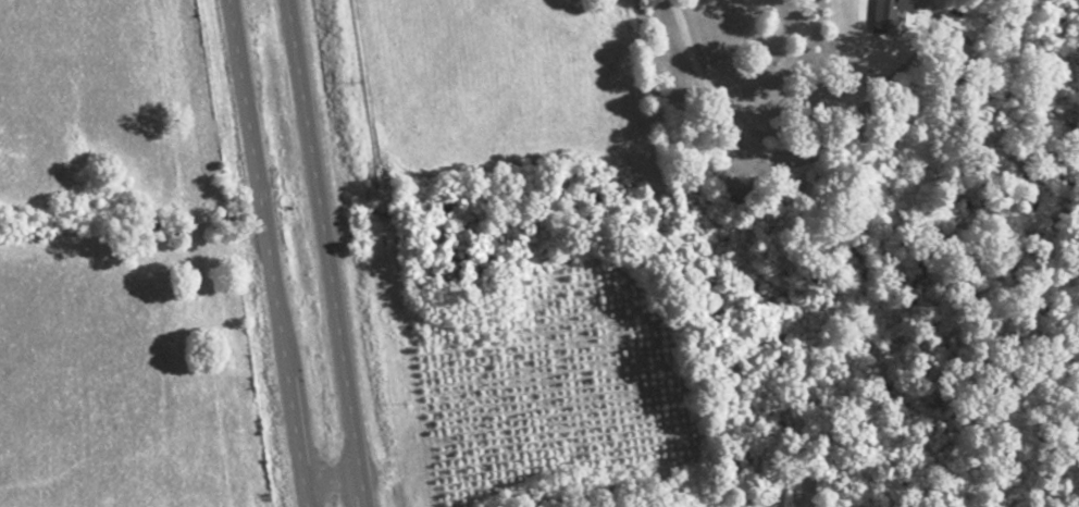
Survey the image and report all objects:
road: (270, 252)
road: (328, 252)
road: (334, 478)

